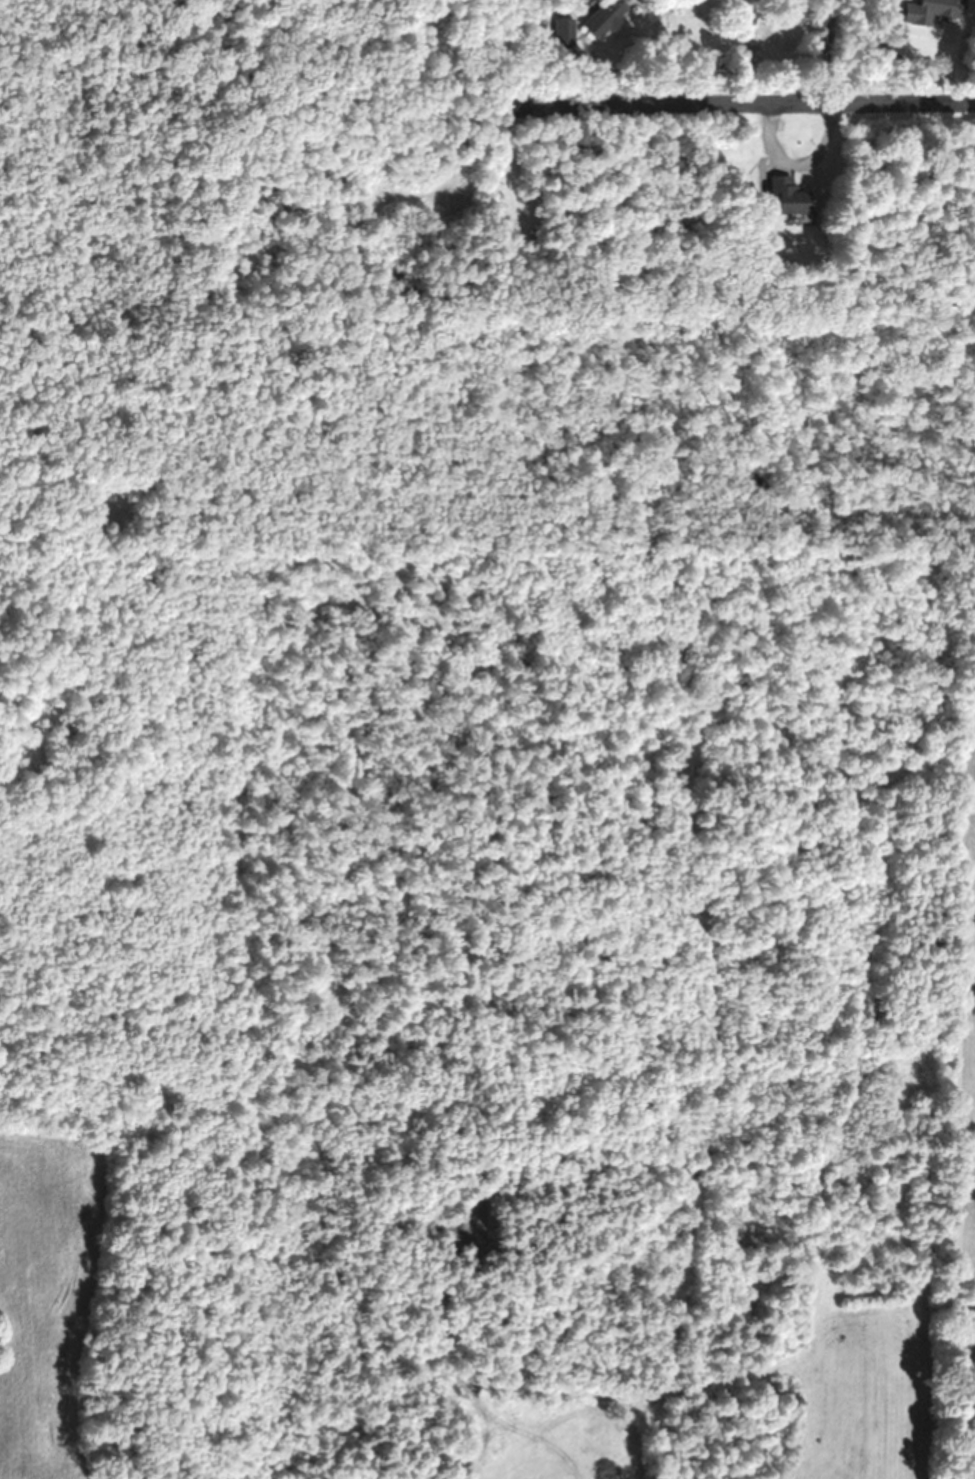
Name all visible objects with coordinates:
building: (606, 17)
road: (752, 101)
building: (790, 197)

